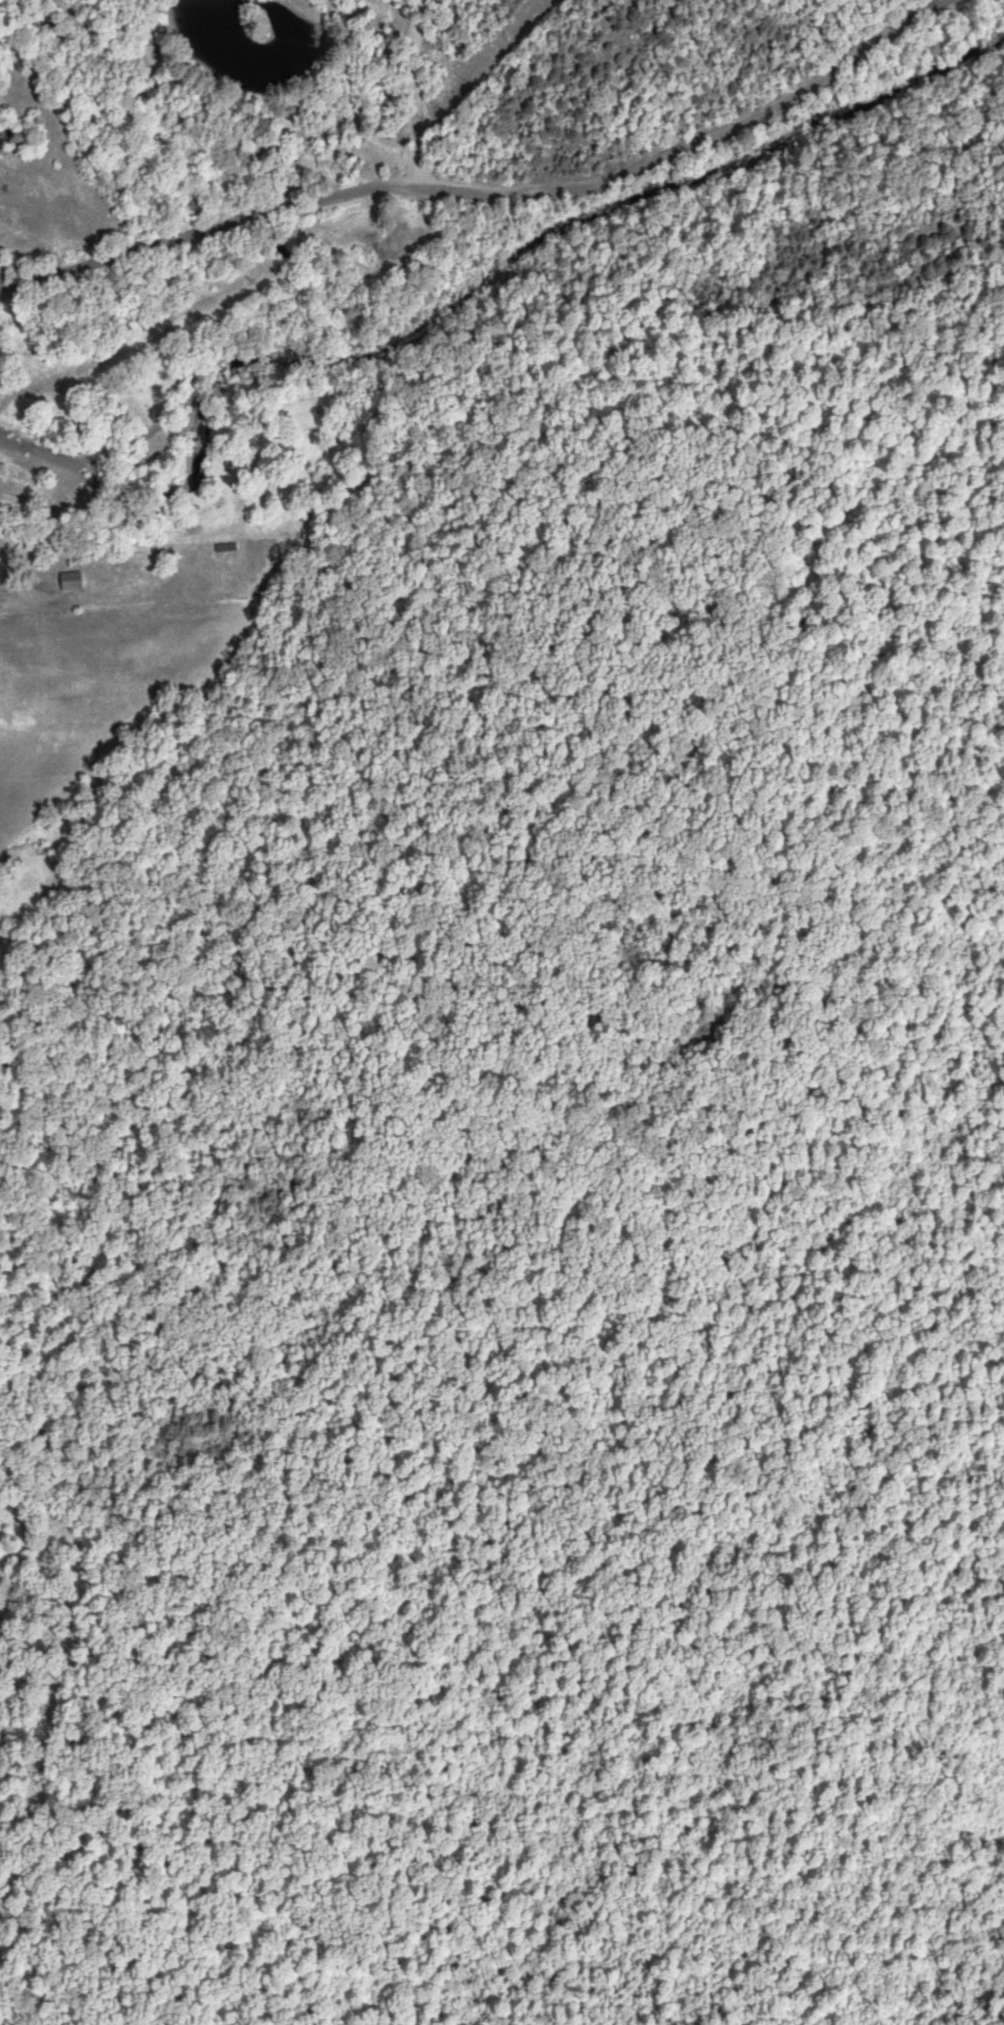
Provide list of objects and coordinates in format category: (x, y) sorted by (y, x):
road: (396, 17)
road: (148, 88)
road: (413, 89)
road: (478, 190)
building: (401, 244)
building: (364, 253)
building: (224, 546)
building: (69, 580)

